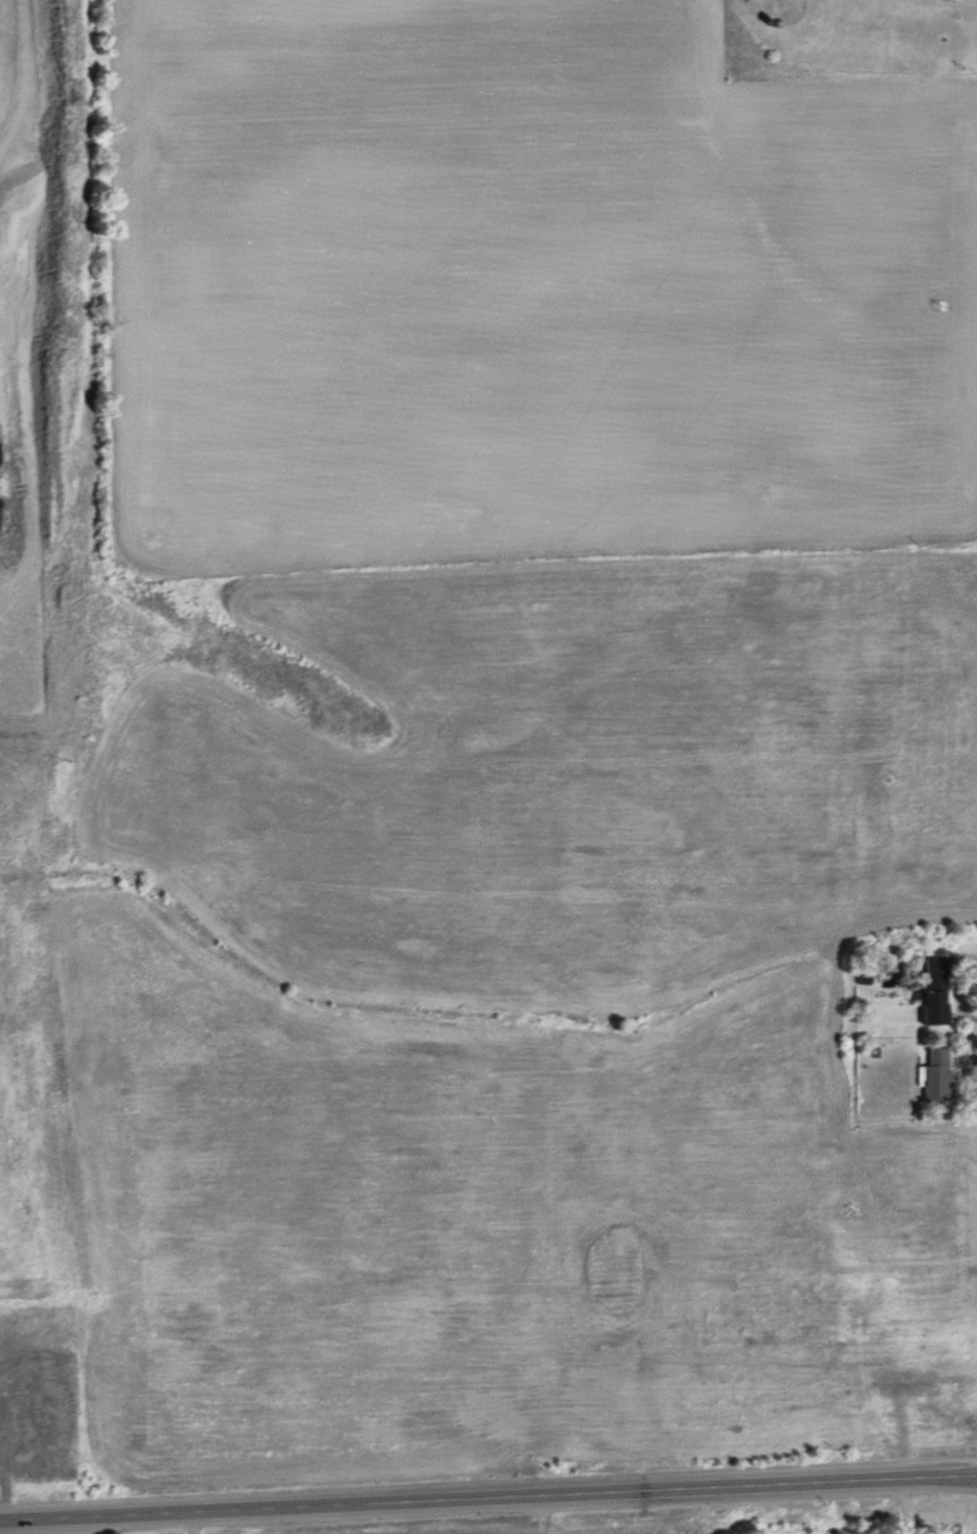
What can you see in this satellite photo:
building: (785, 6)
building: (935, 992)
building: (935, 1076)
road: (488, 1499)

